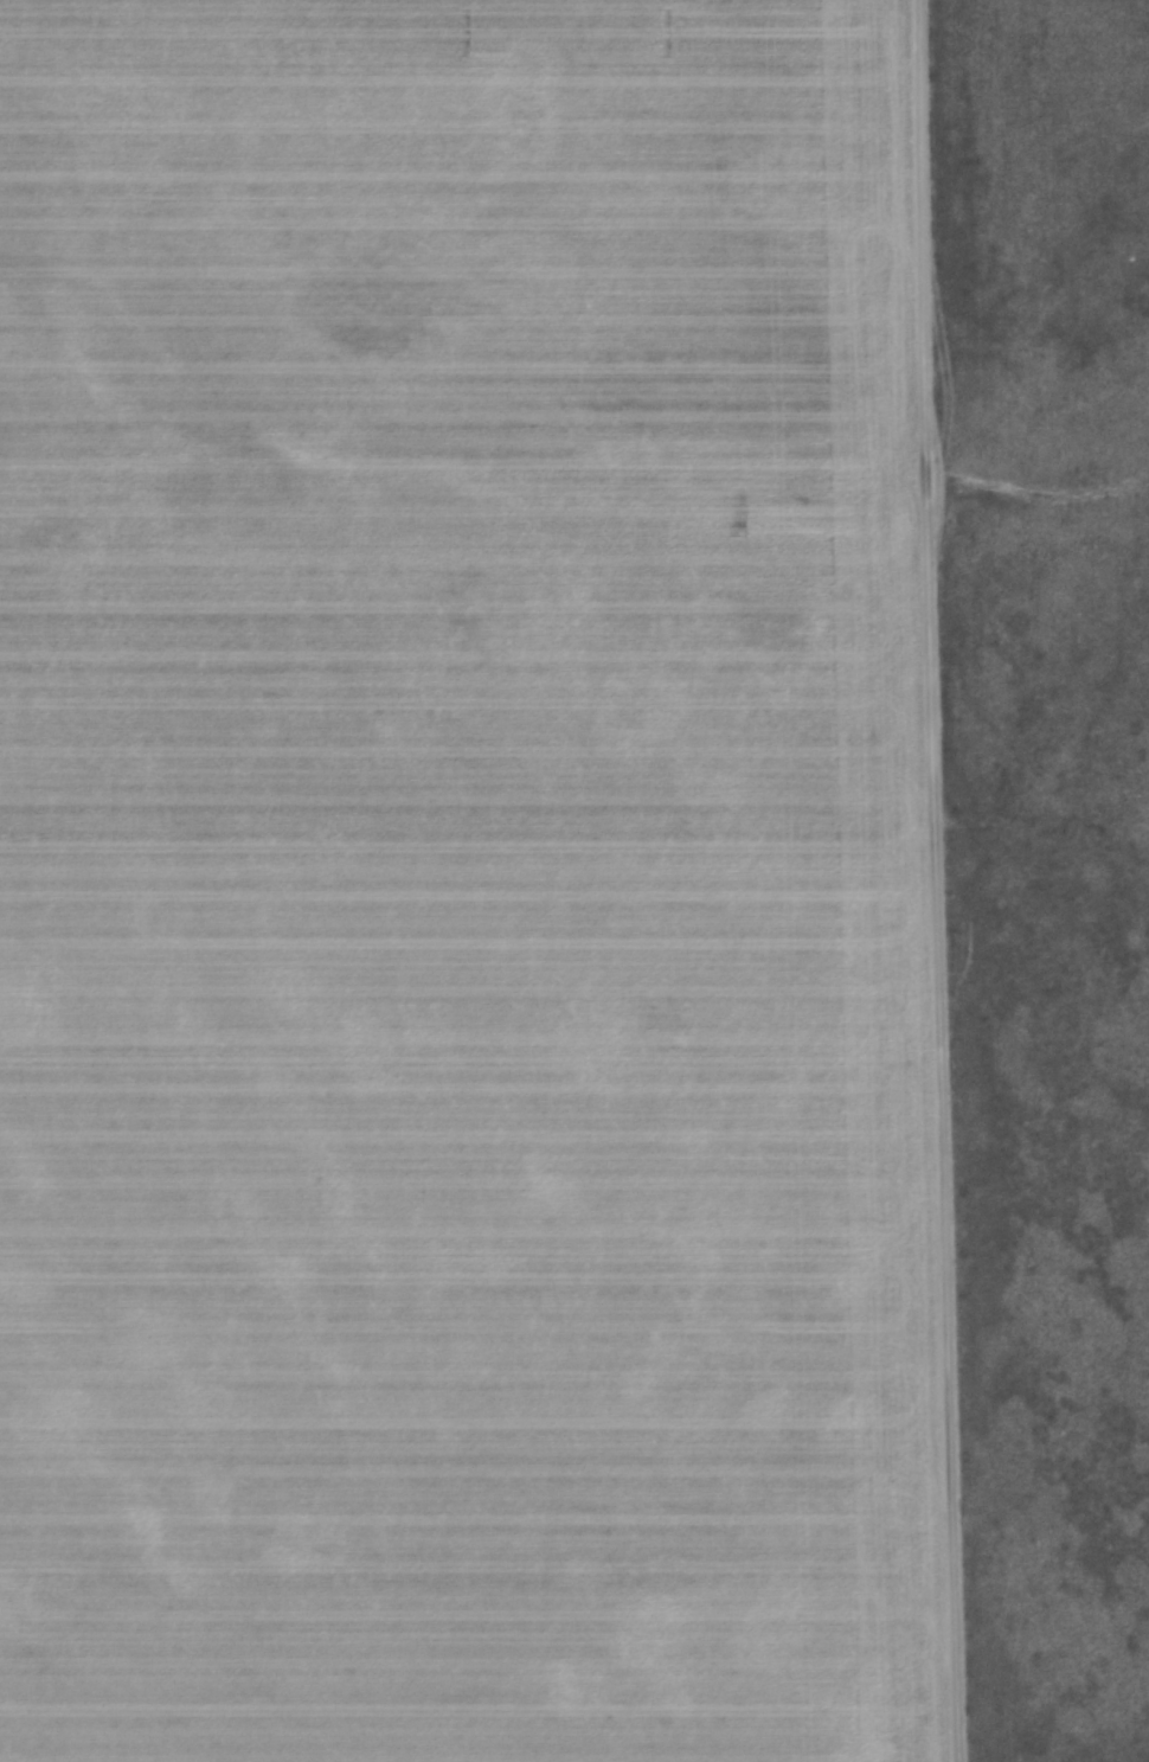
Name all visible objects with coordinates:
road: (939, 879)

